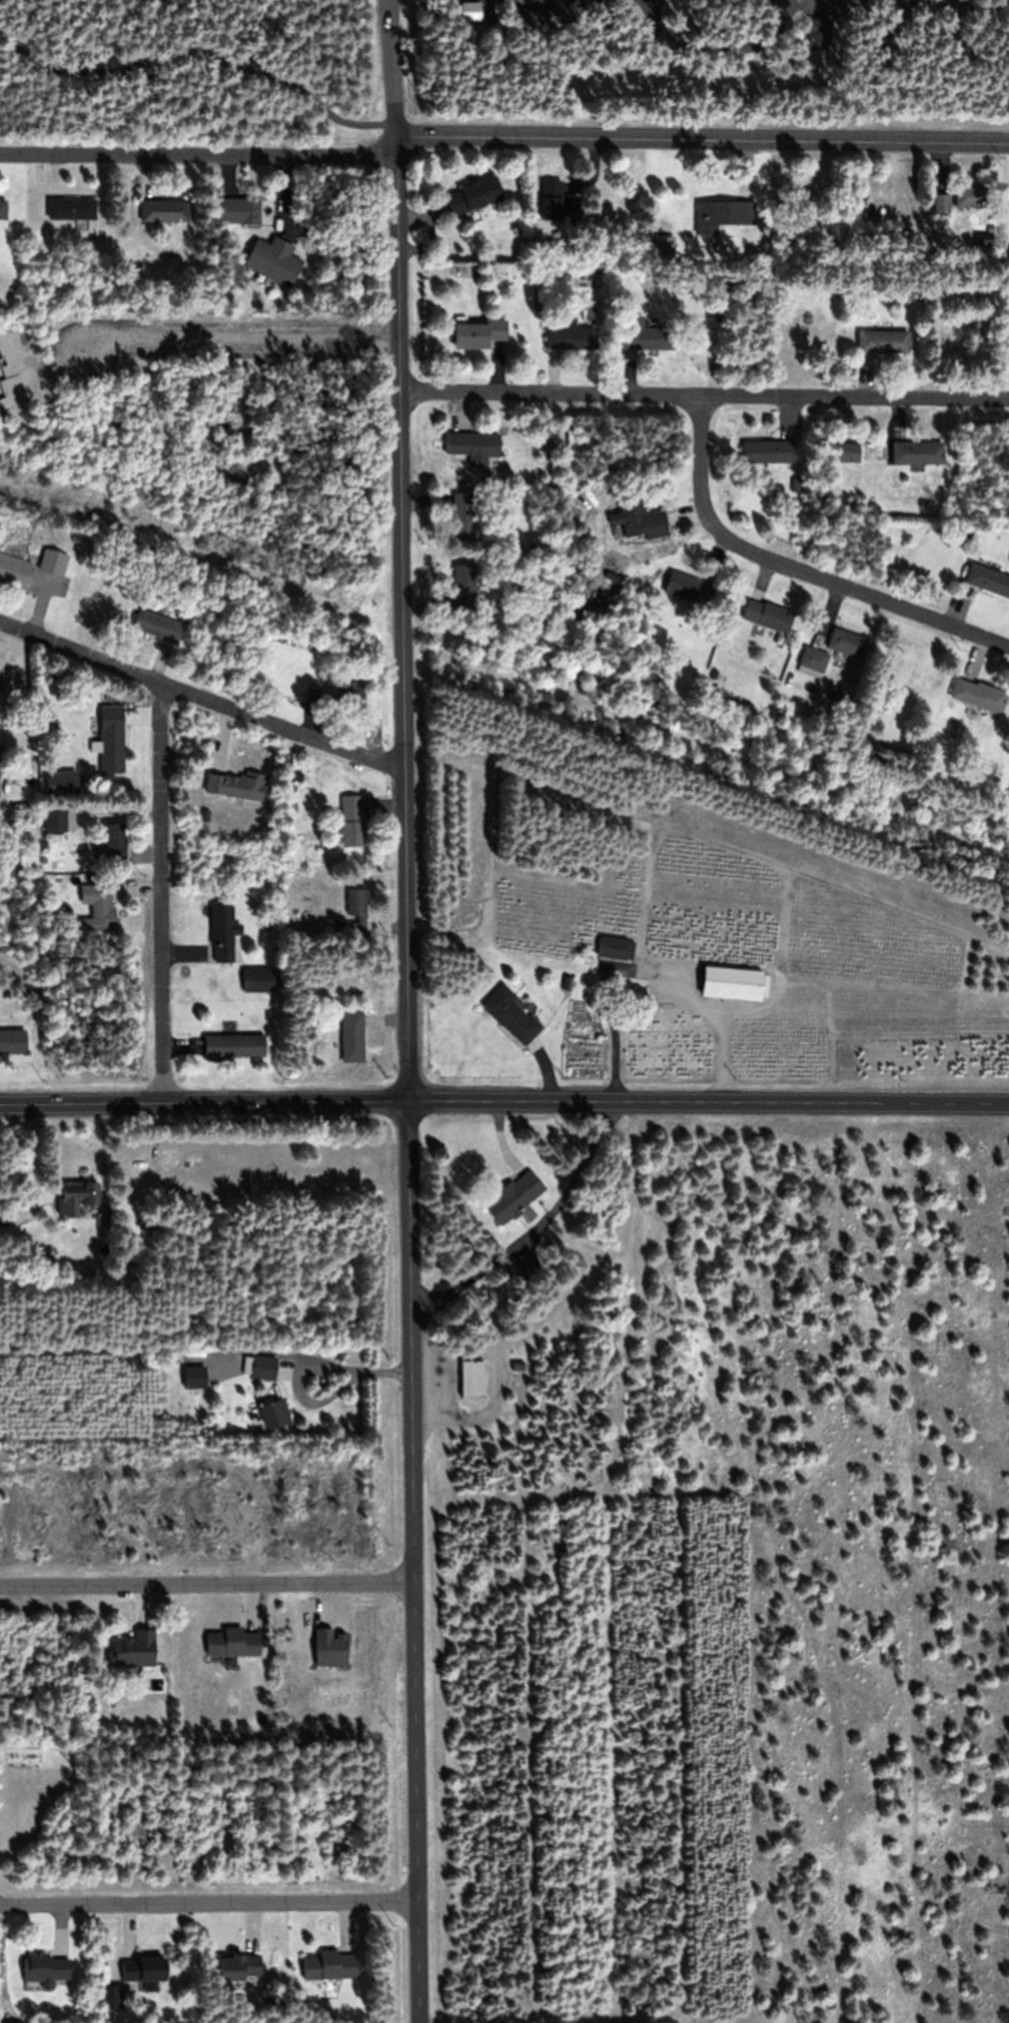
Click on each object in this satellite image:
road: (925, 9)
building: (470, 10)
road: (300, 17)
building: (817, 33)
road: (208, 48)
road: (714, 49)
park: (489, 67)
road: (397, 69)
road: (704, 140)
road: (201, 156)
building: (473, 195)
building: (970, 196)
building: (557, 202)
building: (942, 203)
building: (71, 208)
building: (3, 209)
building: (229, 209)
building: (164, 210)
building: (725, 212)
building: (990, 228)
building: (273, 260)
building: (916, 285)
building: (478, 332)
building: (644, 335)
building: (570, 336)
building: (883, 340)
road: (709, 396)
building: (473, 446)
building: (768, 451)
building: (849, 451)
building: (917, 452)
building: (795, 484)
building: (640, 514)
building: (463, 515)
building: (967, 538)
building: (533, 547)
building: (54, 561)
road: (796, 567)
building: (13, 570)
building: (517, 570)
building: (987, 579)
building: (604, 582)
building: (464, 587)
building: (689, 588)
building: (613, 590)
building: (768, 615)
building: (157, 625)
building: (846, 642)
building: (609, 652)
building: (813, 658)
building: (47, 669)
building: (653, 683)
road: (207, 687)
building: (314, 696)
building: (984, 696)
building: (353, 698)
building: (923, 731)
building: (111, 739)
building: (0, 768)
building: (296, 777)
building: (235, 786)
building: (49, 820)
building: (350, 820)
building: (112, 843)
building: (30, 861)
road: (166, 887)
building: (101, 906)
building: (357, 907)
building: (338, 925)
building: (223, 934)
building: (615, 947)
crop: (747, 950)
building: (258, 981)
building: (734, 982)
building: (6, 993)
building: (511, 1014)
building: (214, 1030)
building: (352, 1036)
building: (12, 1041)
building: (233, 1046)
road: (409, 1080)
road: (504, 1098)
building: (79, 1195)
building: (514, 1196)
building: (1, 1200)
building: (105, 1217)
building: (53, 1226)
building: (29, 1240)
building: (526, 1263)
building: (185, 1350)
building: (300, 1355)
building: (264, 1367)
building: (472, 1378)
building: (608, 1381)
building: (274, 1414)
road: (206, 1584)
building: (233, 1643)
building: (330, 1649)
building: (135, 1650)
road: (208, 1903)
building: (330, 1966)
building: (239, 1967)
building: (46, 1970)
building: (144, 1972)

